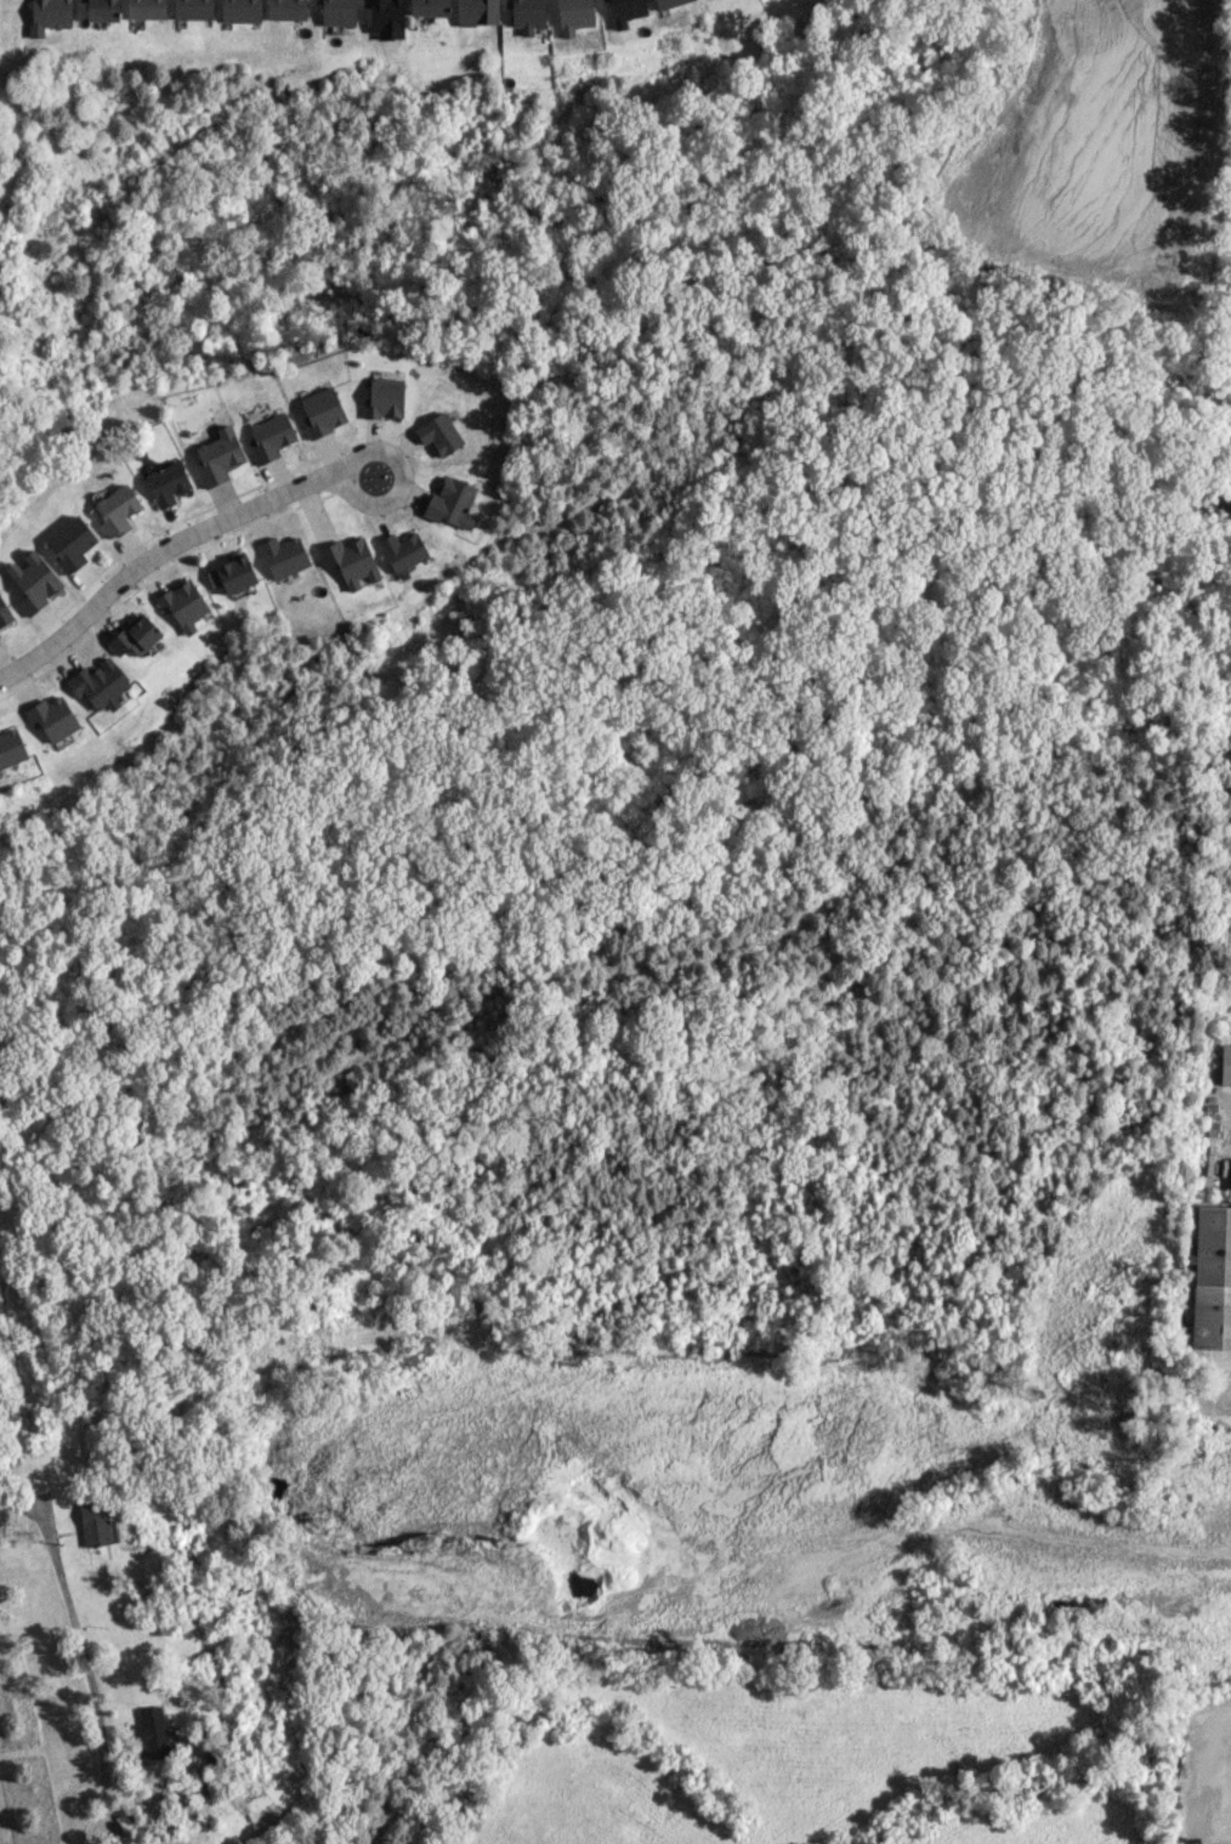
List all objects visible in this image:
building: (669, 2)
building: (429, 7)
building: (193, 8)
building: (102, 10)
building: (146, 10)
building: (287, 10)
building: (240, 11)
building: (337, 12)
building: (527, 15)
building: (50, 16)
building: (574, 16)
building: (384, 398)
building: (322, 412)
building: (438, 433)
building: (270, 437)
building: (217, 456)
road: (403, 476)
building: (166, 483)
building: (449, 503)
building: (117, 510)
building: (70, 544)
road: (158, 549)
building: (402, 551)
building: (282, 556)
building: (350, 560)
building: (232, 574)
building: (34, 581)
building: (182, 605)
building: (4, 613)
building: (0, 636)
building: (135, 636)
building: (98, 685)
building: (52, 717)
building: (11, 748)
building: (1225, 1066)
building: (1212, 1278)
building: (95, 1524)
road: (81, 1652)
building: (152, 1732)

